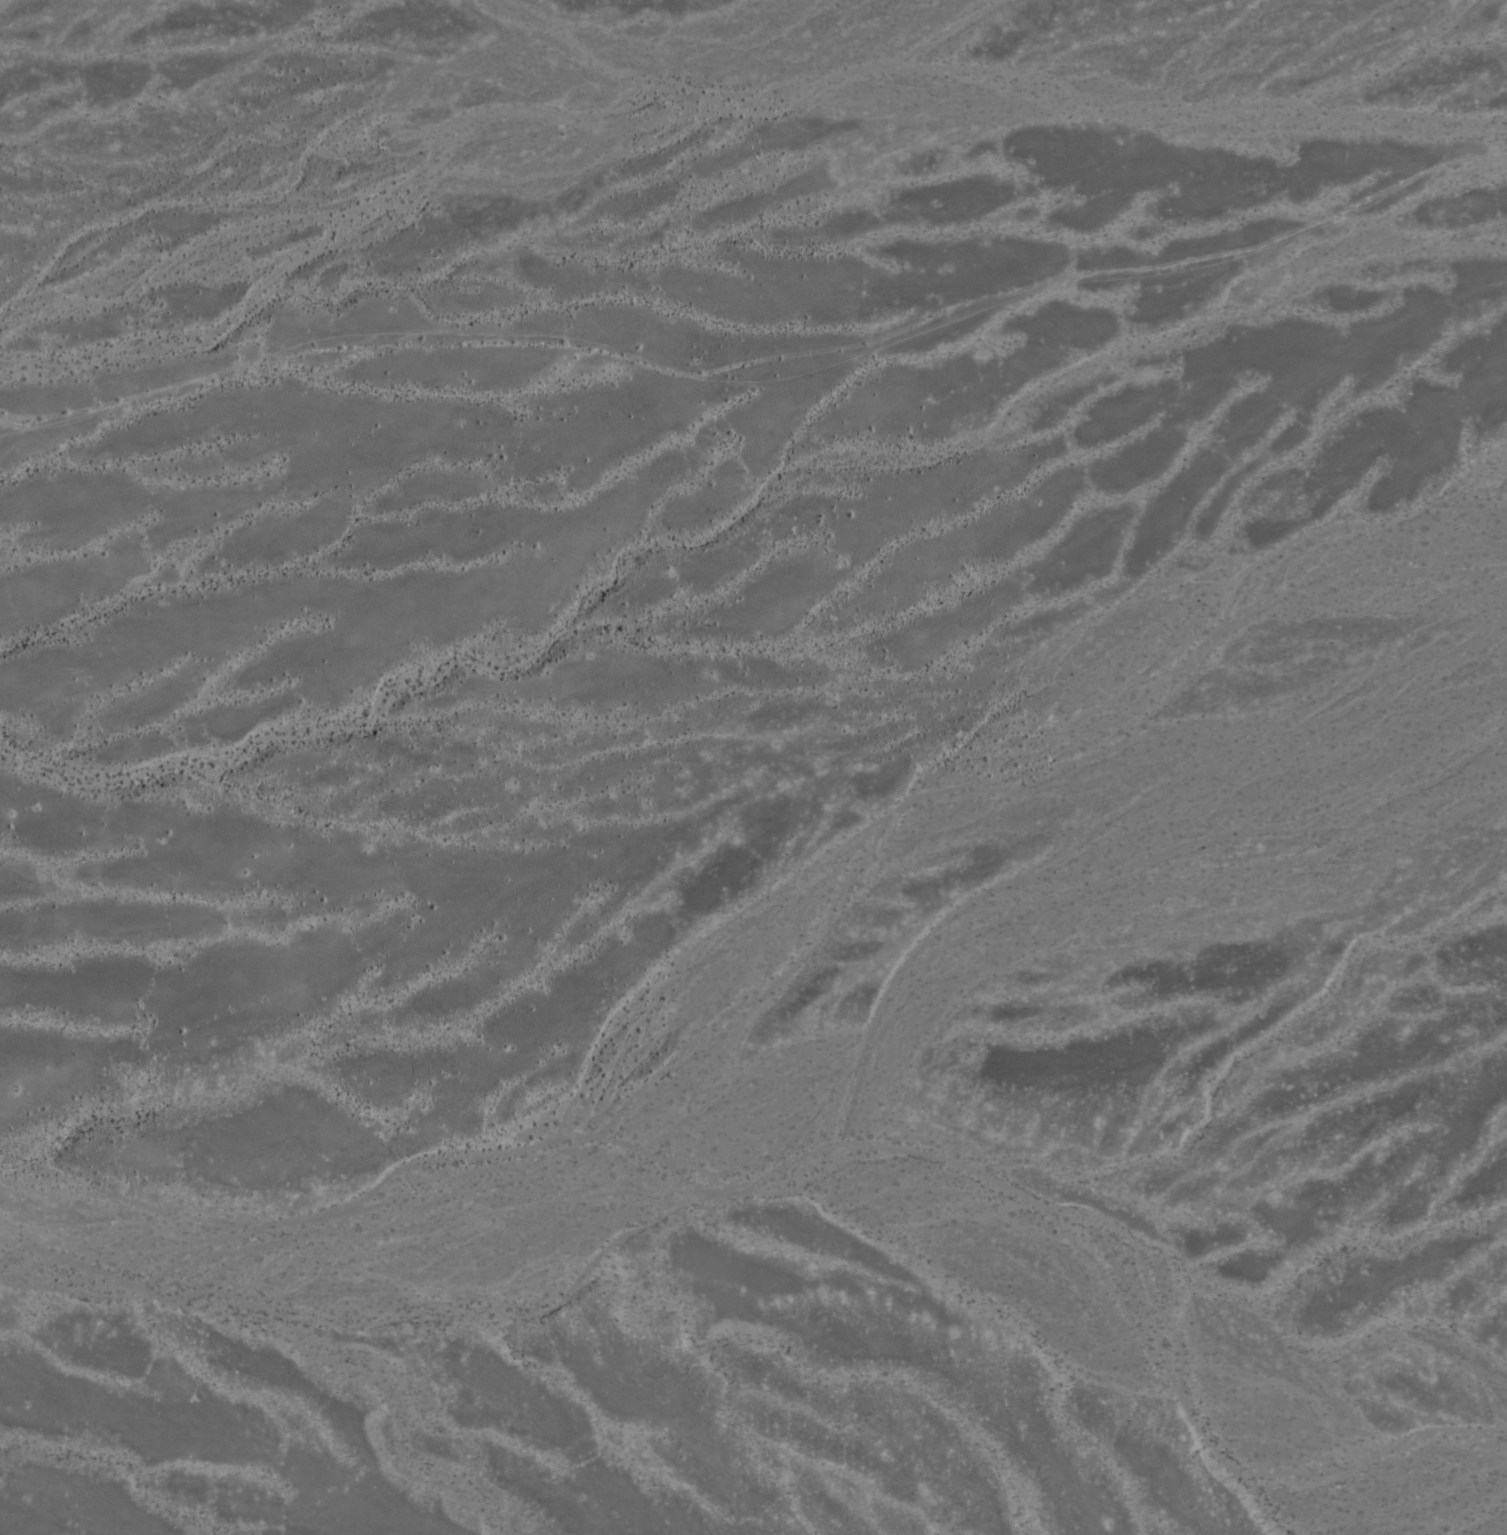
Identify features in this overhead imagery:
road: (709, 96)

